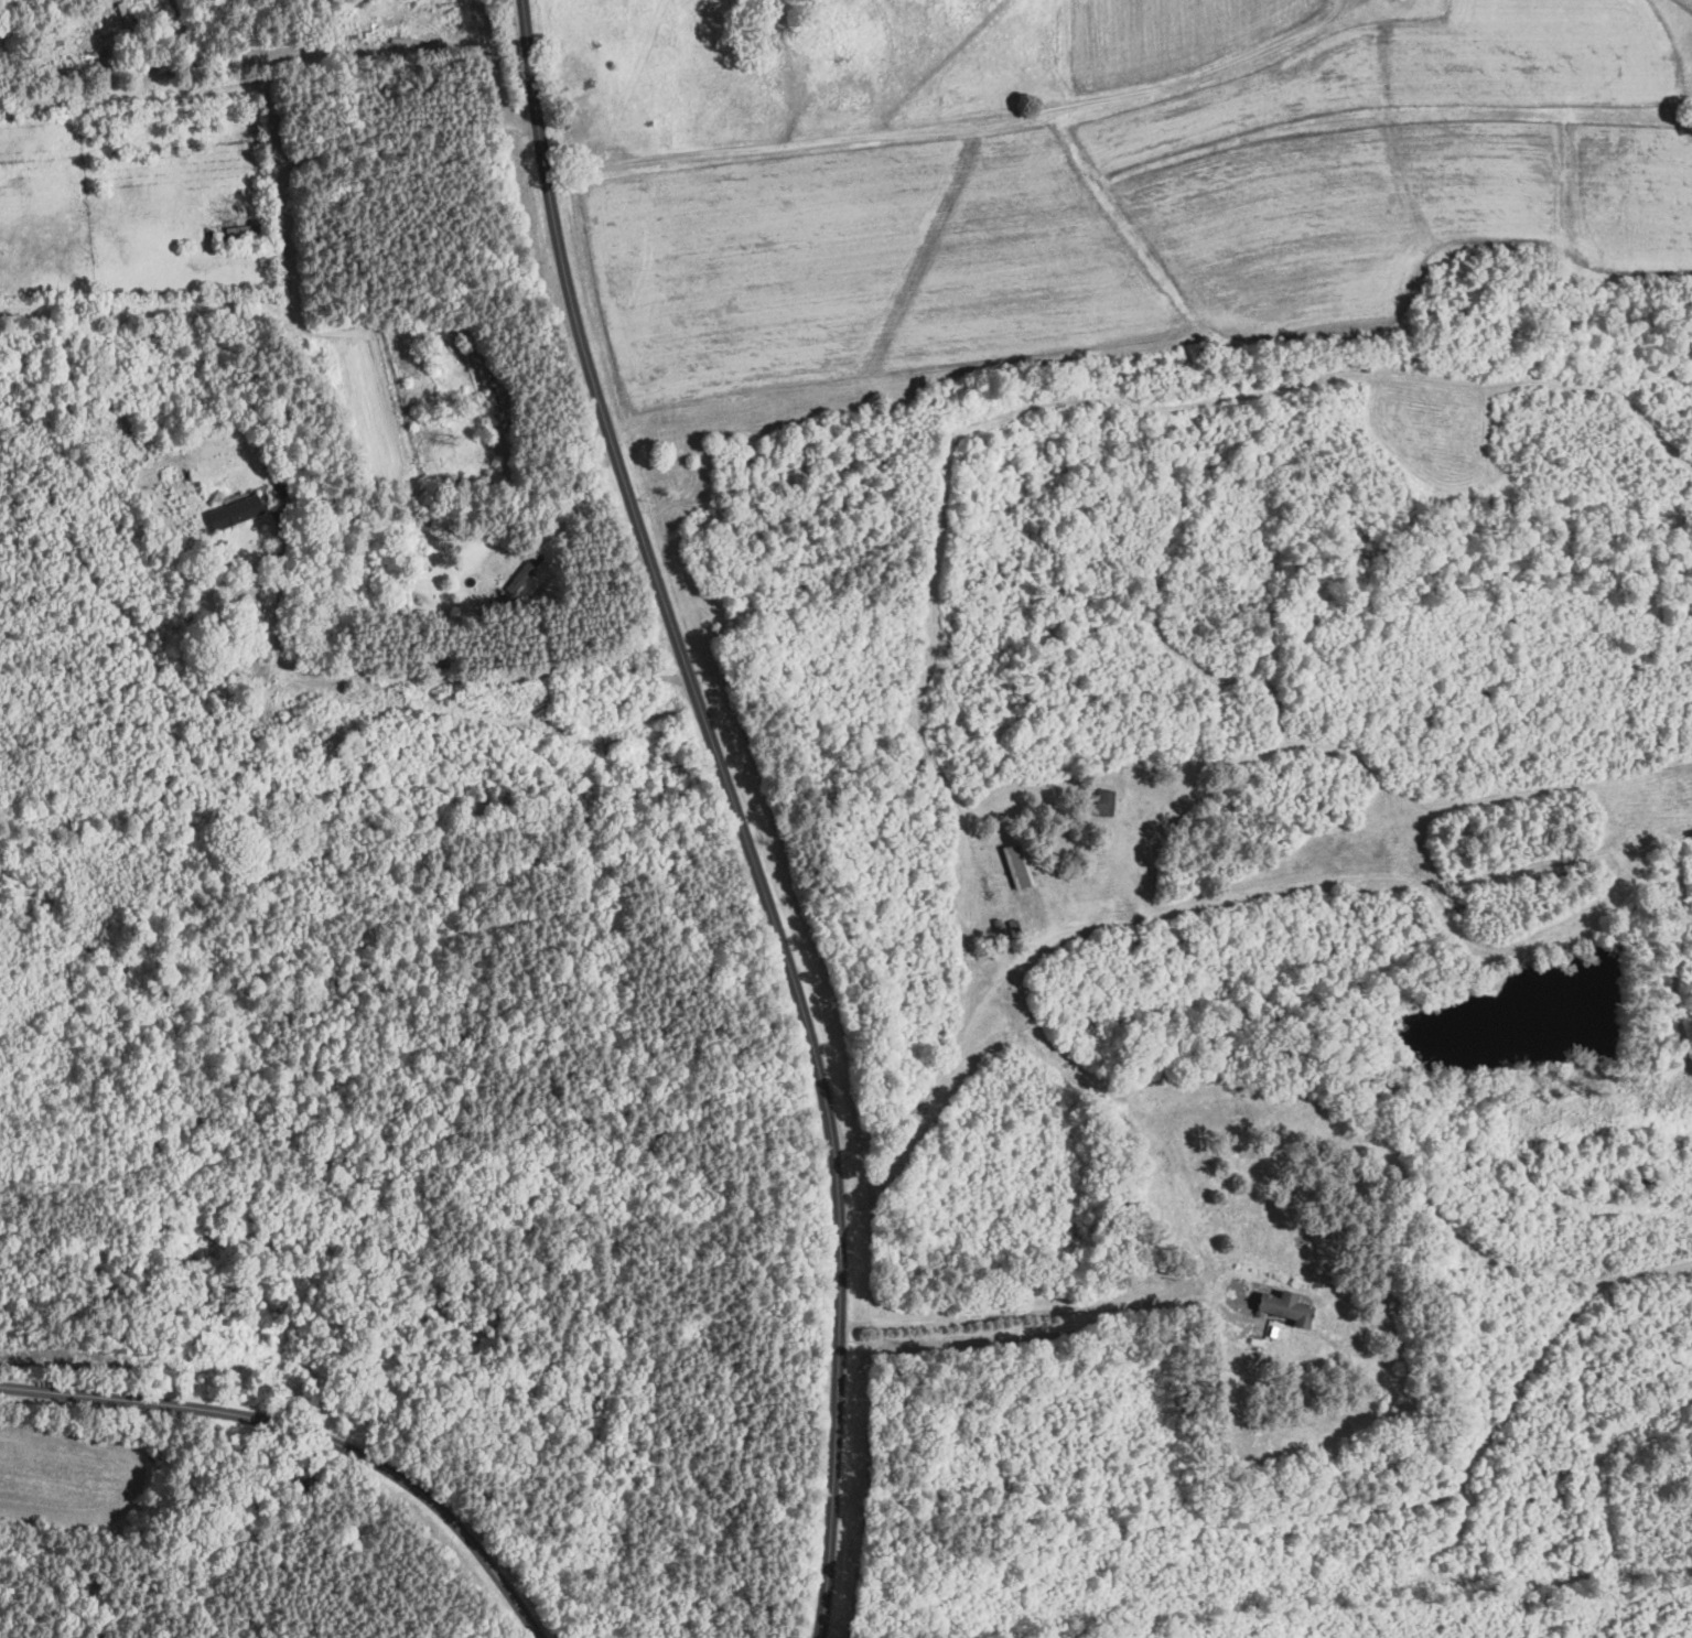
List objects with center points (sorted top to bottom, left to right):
building: (126, 19)
building: (56, 24)
building: (103, 64)
building: (69, 74)
road: (358, 138)
road: (817, 147)
building: (234, 514)
road: (528, 549)
road: (500, 681)
building: (1102, 804)
road: (752, 807)
road: (974, 833)
building: (1023, 888)
road: (1017, 1031)
building: (1282, 1310)
road: (309, 1434)

